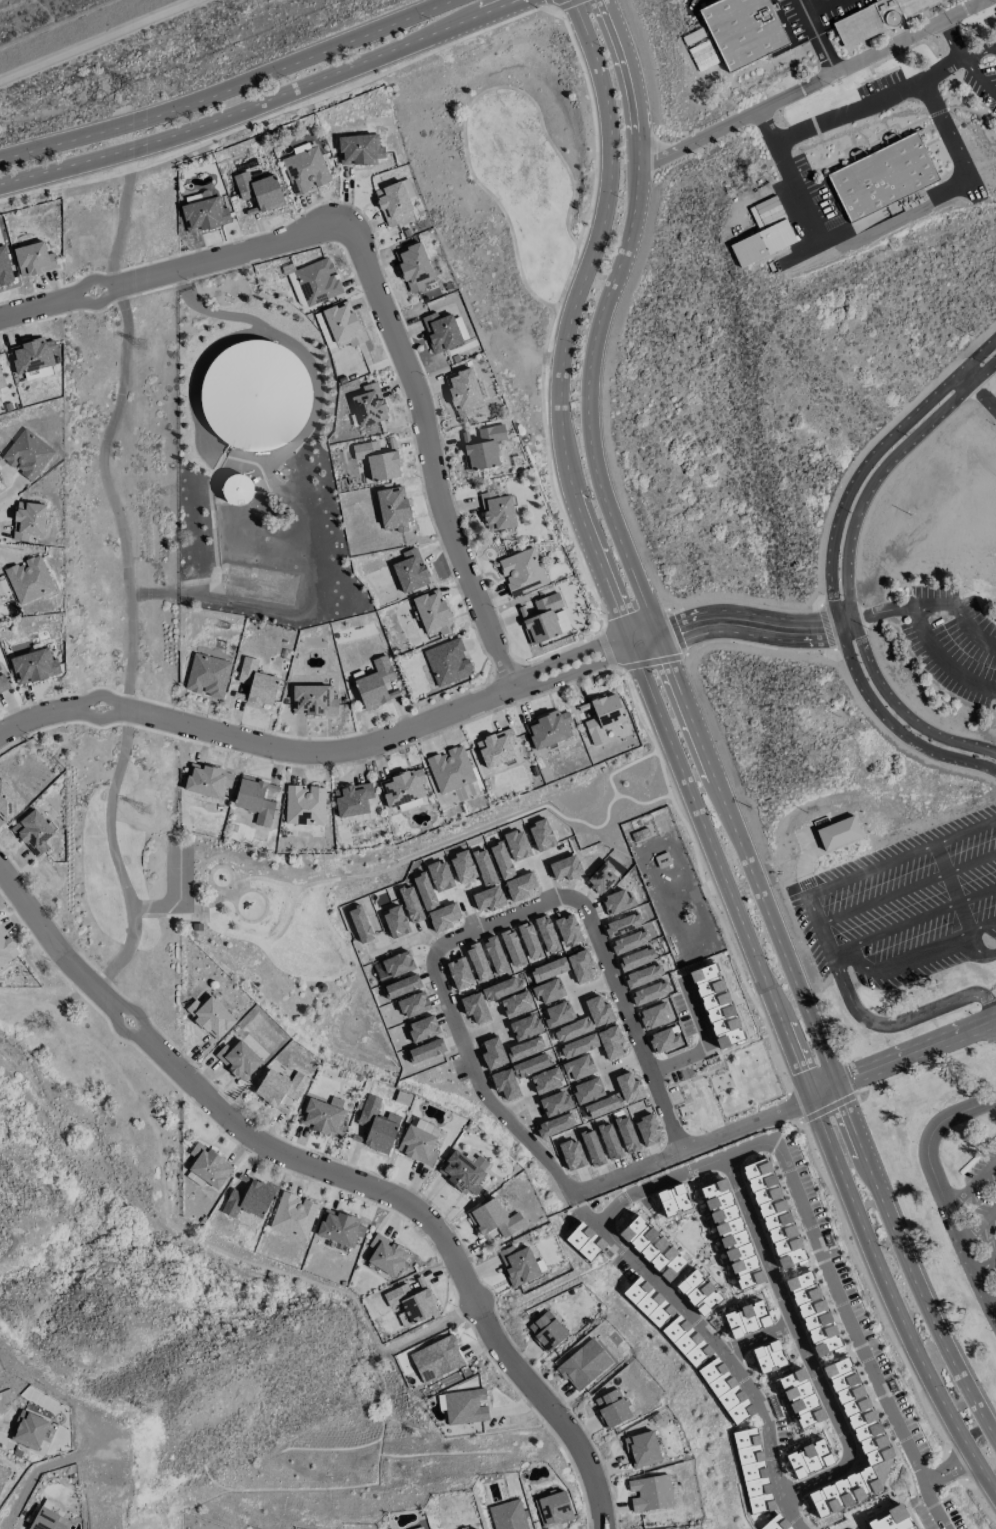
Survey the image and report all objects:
road: (560, 5)
building: (879, 18)
building: (742, 30)
road: (815, 37)
road: (95, 39)
road: (956, 40)
road: (981, 52)
building: (703, 56)
road: (982, 75)
road: (814, 84)
parking lot: (985, 85)
road: (230, 88)
road: (259, 102)
road: (875, 104)
road: (948, 129)
building: (359, 149)
building: (305, 170)
building: (884, 176)
building: (407, 189)
park: (503, 189)
building: (259, 190)
building: (392, 202)
building: (204, 214)
road: (832, 240)
building: (762, 242)
building: (34, 259)
building: (413, 266)
road: (176, 267)
building: (317, 281)
building: (294, 286)
building: (342, 324)
building: (441, 331)
building: (32, 355)
building: (1, 381)
road: (977, 391)
building: (463, 392)
building: (254, 395)
storage tank: (254, 395)
building: (369, 405)
building: (483, 447)
building: (27, 453)
road: (432, 455)
building: (377, 460)
road: (300, 487)
building: (237, 488)
building: (393, 508)
building: (497, 510)
building: (28, 520)
road: (626, 553)
road: (599, 559)
road: (831, 564)
road: (845, 567)
building: (410, 571)
building: (522, 571)
road: (131, 575)
building: (29, 579)
building: (432, 612)
road: (878, 612)
building: (545, 618)
road: (919, 619)
road: (735, 623)
parking lot: (953, 642)
building: (447, 661)
building: (34, 666)
building: (207, 675)
building: (3, 683)
building: (256, 683)
building: (377, 684)
building: (313, 699)
building: (603, 717)
building: (548, 729)
building: (496, 748)
road: (320, 751)
building: (450, 769)
building: (207, 780)
building: (402, 787)
building: (255, 799)
building: (352, 799)
building: (8, 801)
building: (304, 804)
road: (965, 830)
building: (33, 831)
building: (837, 832)
road: (852, 876)
building: (601, 877)
road: (906, 889)
road: (170, 891)
road: (976, 894)
road: (956, 901)
building: (616, 902)
parking lot: (906, 908)
road: (510, 915)
park: (259, 917)
building: (623, 924)
road: (892, 927)
road: (983, 928)
building: (629, 941)
building: (6, 948)
road: (994, 956)
road: (912, 957)
building: (636, 958)
road: (844, 964)
building: (580, 966)
building: (549, 969)
building: (643, 975)
building: (548, 991)
building: (650, 992)
building: (716, 1005)
building: (598, 1011)
building: (558, 1014)
building: (654, 1015)
building: (210, 1016)
road: (883, 1025)
building: (572, 1029)
road: (700, 1039)
building: (663, 1040)
building: (610, 1042)
building: (578, 1045)
road: (902, 1056)
building: (238, 1059)
road: (925, 1062)
building: (577, 1067)
building: (279, 1086)
road: (214, 1106)
road: (827, 1107)
building: (324, 1116)
building: (377, 1125)
building: (418, 1143)
building: (208, 1165)
building: (464, 1171)
road: (972, 1181)
road: (942, 1192)
parking lot: (983, 1197)
building: (248, 1199)
building: (672, 1200)
building: (773, 1213)
building: (293, 1215)
building: (494, 1219)
road: (979, 1220)
building: (339, 1228)
building: (731, 1234)
building: (583, 1241)
building: (652, 1247)
building: (386, 1255)
road: (986, 1259)
road: (910, 1261)
building: (518, 1264)
road: (835, 1291)
building: (698, 1292)
road: (666, 1294)
building: (648, 1302)
road: (892, 1302)
building: (411, 1303)
road: (993, 1303)
building: (813, 1313)
building: (746, 1319)
building: (546, 1330)
road: (756, 1338)
building: (686, 1341)
building: (769, 1356)
building: (436, 1358)
road: (808, 1362)
building: (583, 1364)
building: (726, 1390)
building: (801, 1398)
road: (548, 1403)
building: (465, 1406)
building: (611, 1408)
building: (29, 1429)
building: (869, 1438)
building: (642, 1449)
building: (808, 1458)
building: (752, 1469)
road: (947, 1469)
building: (2, 1470)
building: (650, 1492)
road: (934, 1505)
building: (553, 1508)
building: (508, 1515)
building: (890, 1519)
building: (48, 1520)
building: (776, 1523)
building: (422, 1527)
building: (475, 1528)
building: (531, 1528)

